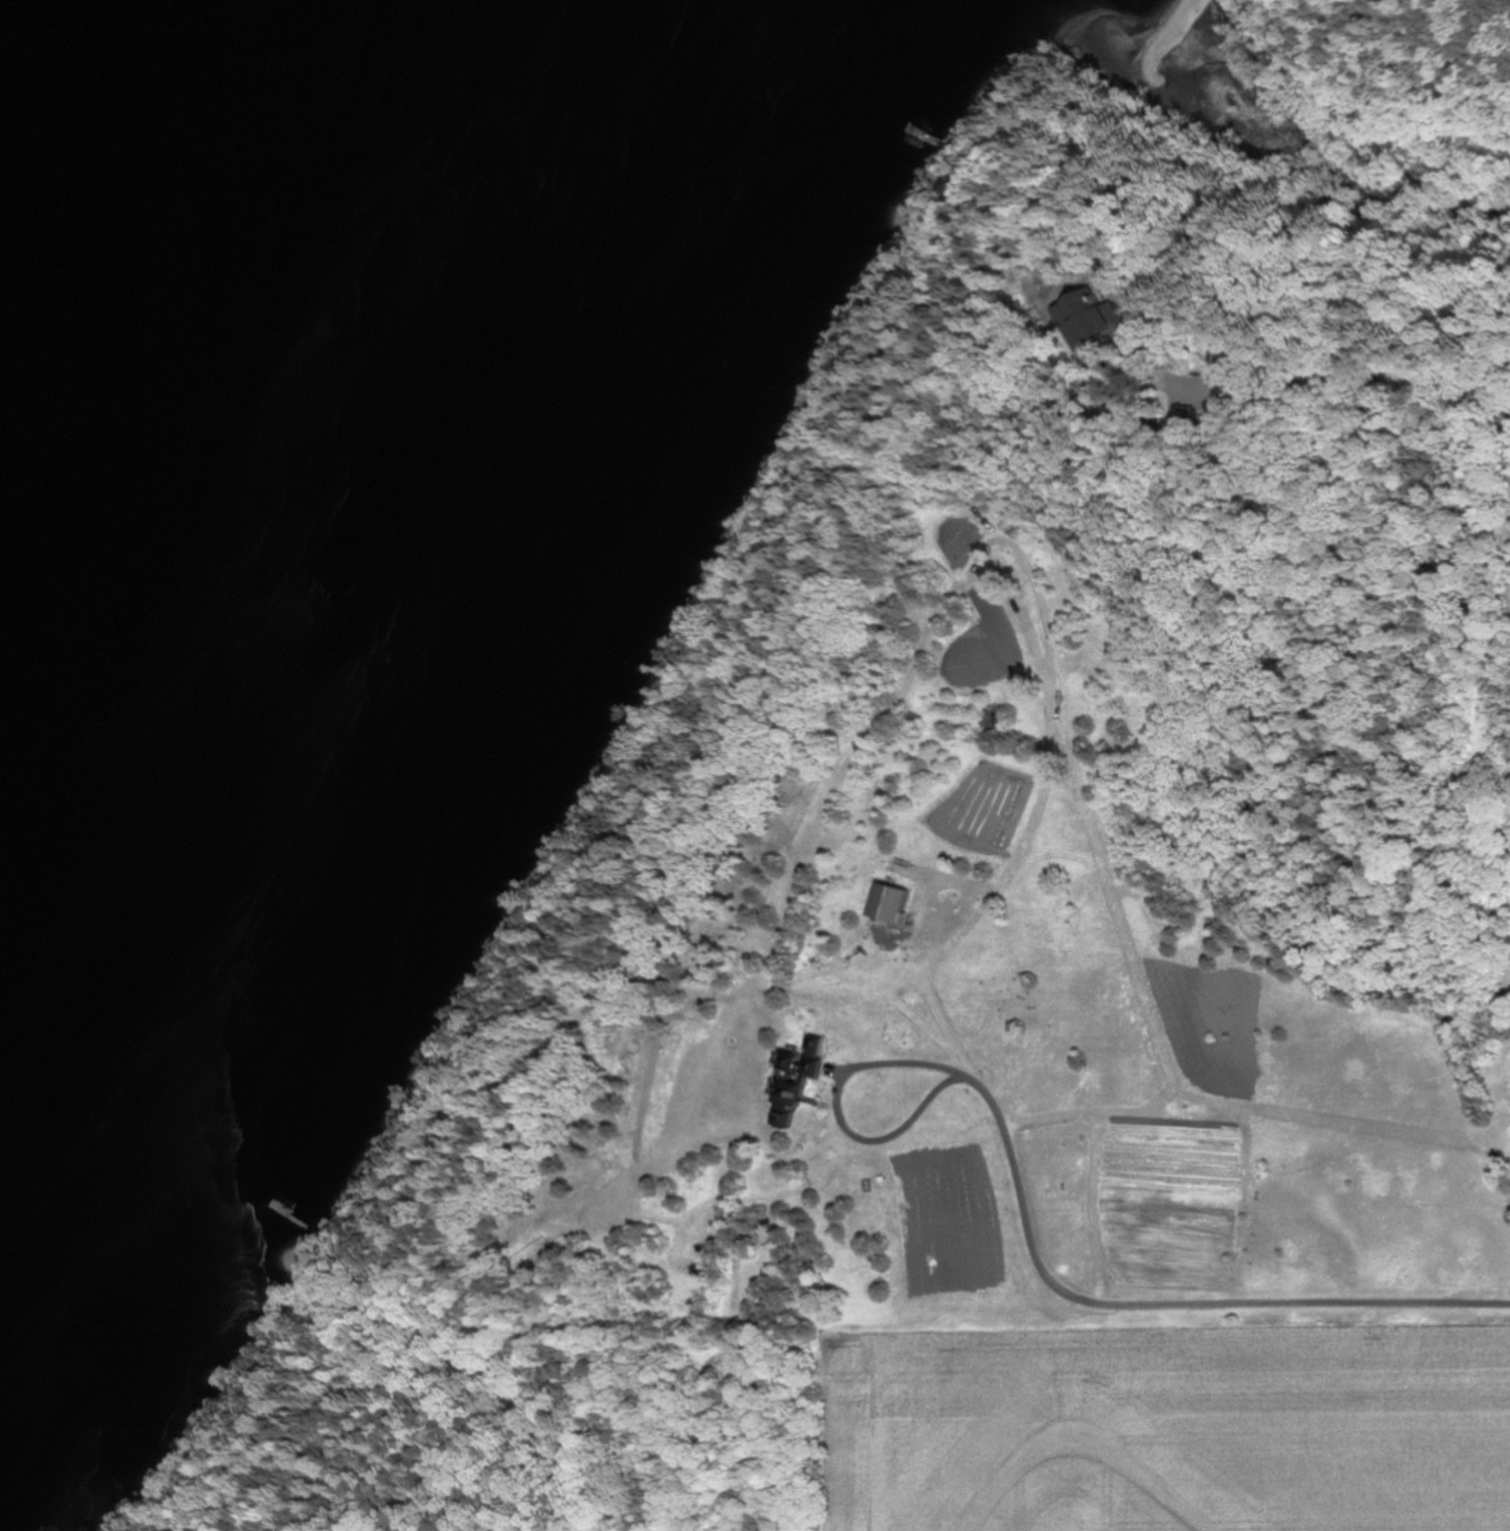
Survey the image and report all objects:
river: (167, 315)
road: (1329, 377)
building: (795, 1082)
road: (843, 1109)
road: (1163, 1301)
crop: (1168, 1426)

